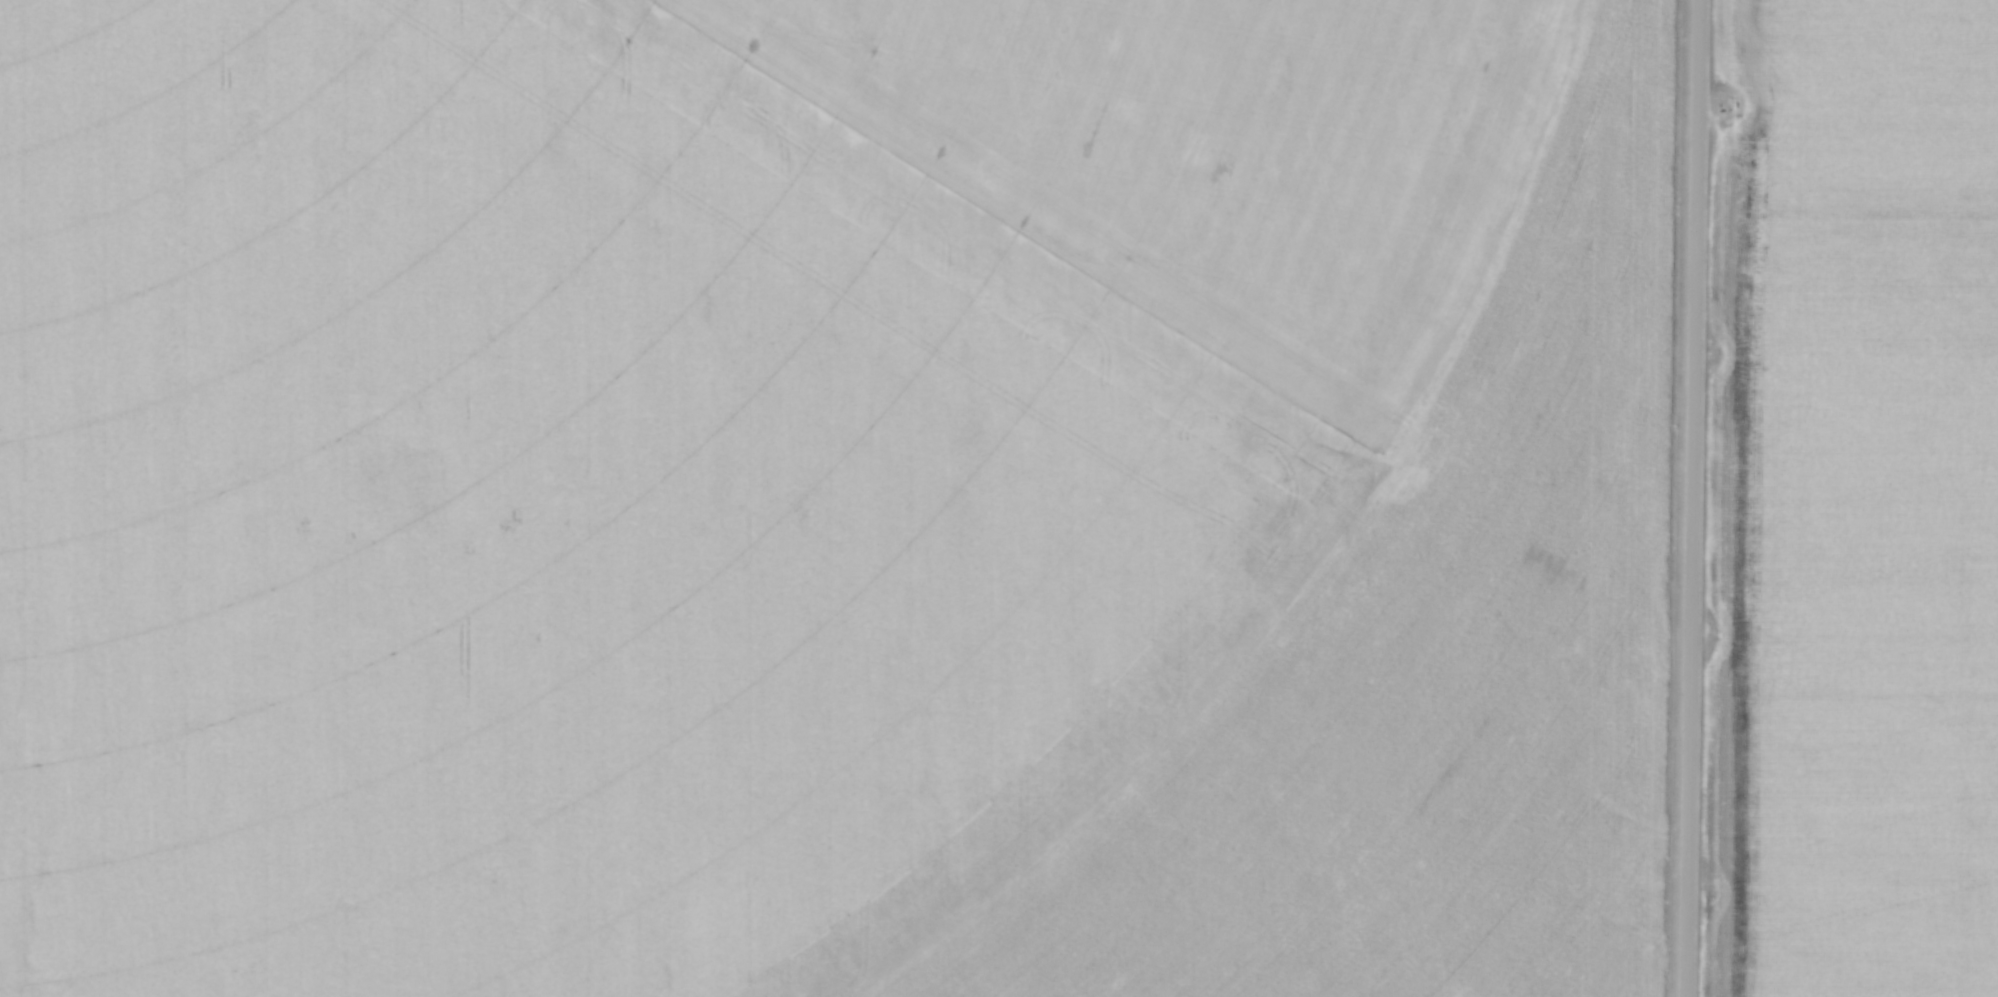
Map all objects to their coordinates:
road: (1694, 498)

